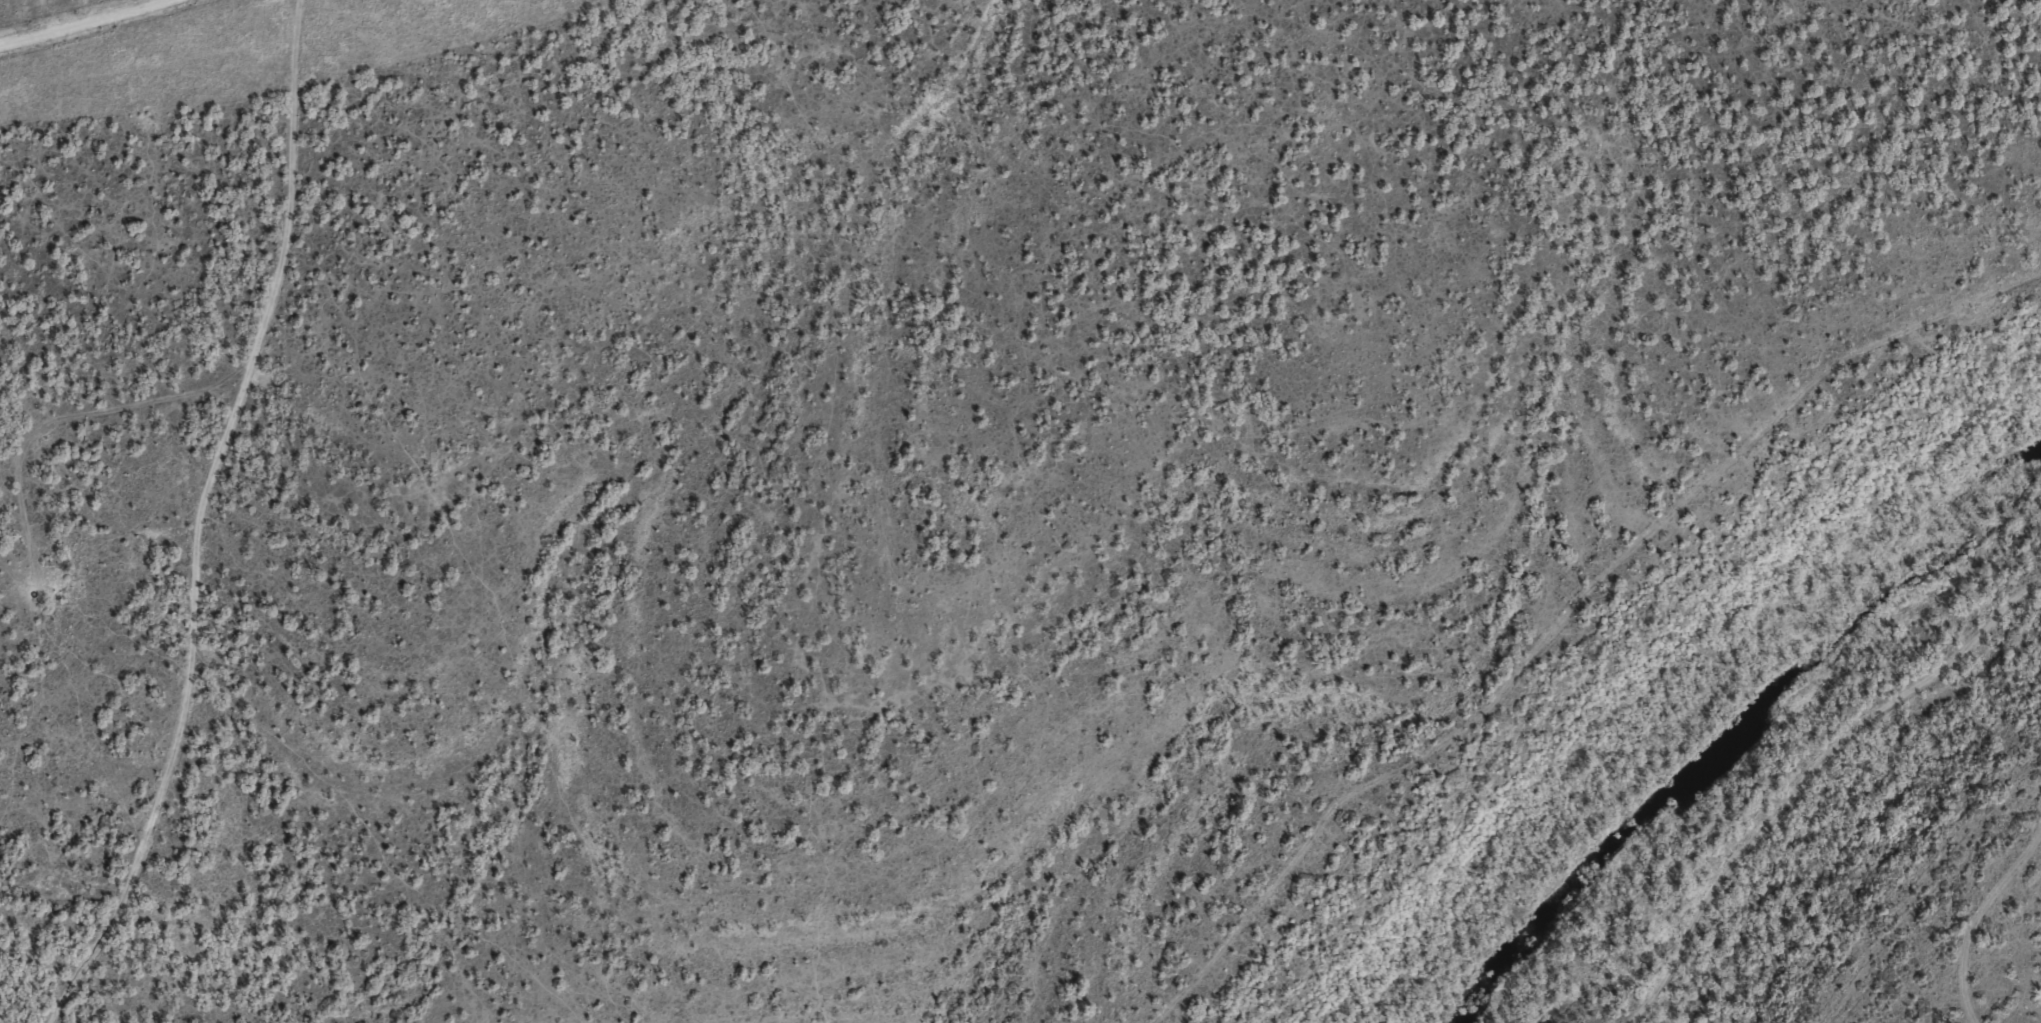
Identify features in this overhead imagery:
road: (112, 21)
road: (193, 516)
road: (1818, 779)

